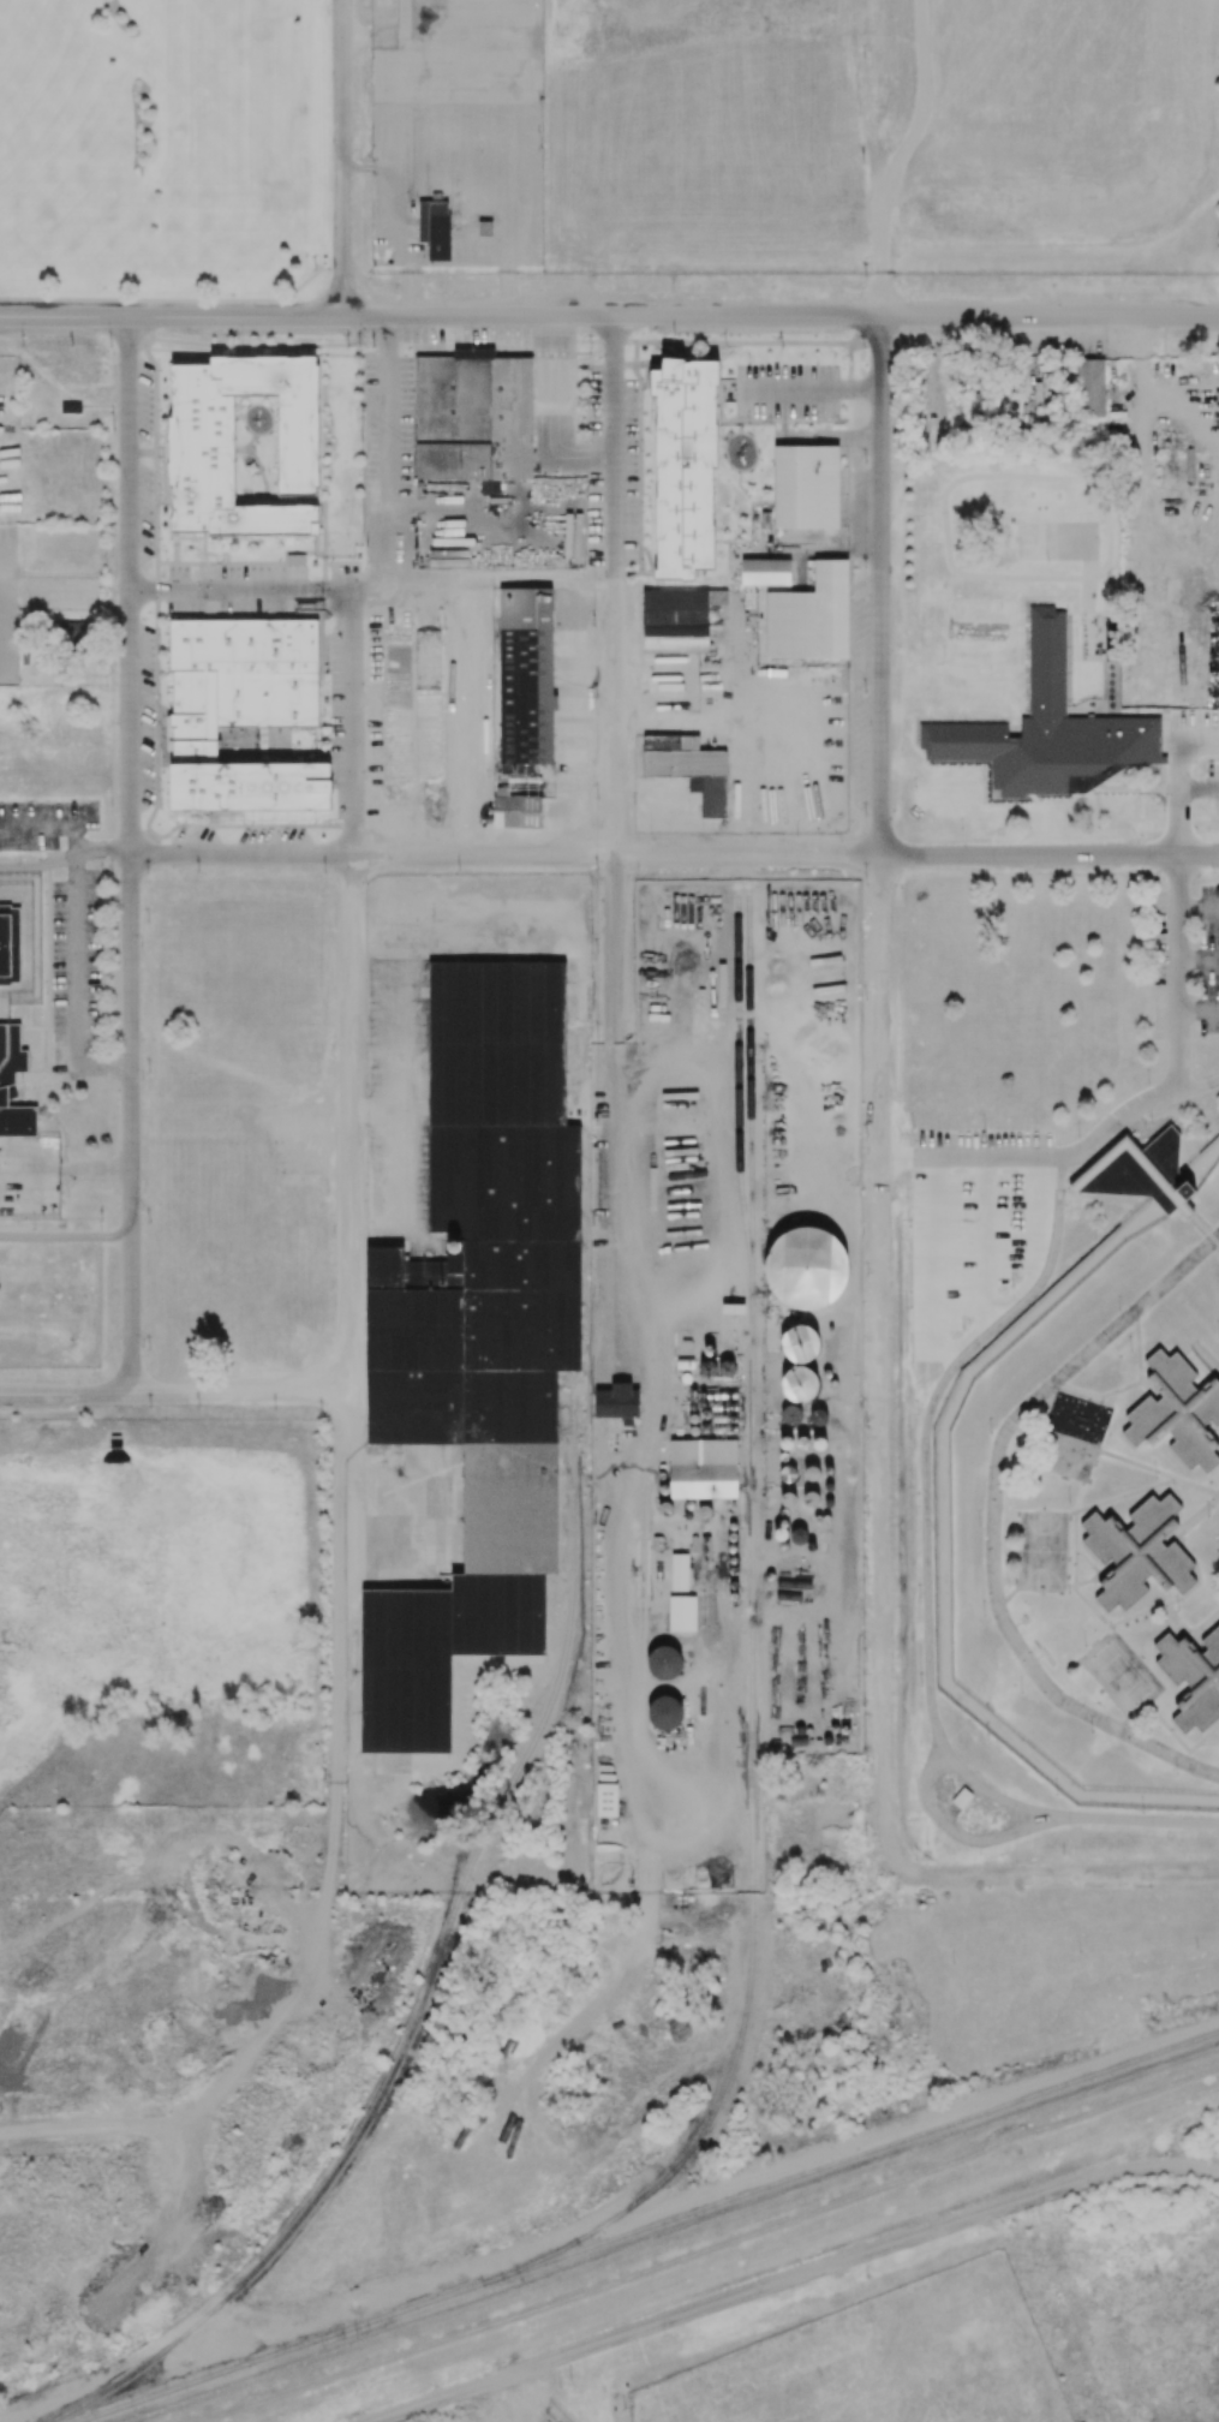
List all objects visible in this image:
street lamp: (325, 14)
road: (369, 37)
airport: (795, 137)
street lamp: (375, 147)
street lamp: (538, 147)
park: (12, 149)
road: (879, 156)
road: (341, 157)
street lamp: (360, 159)
road: (357, 168)
building: (436, 196)
building: (423, 228)
building: (485, 228)
building: (438, 238)
road: (411, 294)
road: (506, 294)
road: (175, 300)
road: (149, 308)
road: (781, 315)
road: (64, 316)
road: (234, 316)
street lamp: (472, 345)
street lamp: (110, 346)
street lamp: (232, 346)
street lamp: (590, 346)
street lamp: (22, 347)
street lamp: (359, 347)
street lamp: (151, 371)
building: (1090, 388)
road: (807, 389)
parking lot: (787, 390)
street lamp: (153, 411)
road: (555, 417)
building: (473, 418)
building: (203, 446)
building: (685, 464)
road: (388, 471)
building: (806, 485)
building: (765, 572)
road: (240, 590)
parking lot: (8, 608)
building: (811, 616)
building: (677, 619)
building: (71, 633)
building: (526, 678)
parking lot: (860, 692)
building: (243, 711)
building: (1047, 729)
building: (688, 766)
road: (1196, 786)
parking lot: (1212, 788)
road: (1173, 791)
building: (515, 810)
parking lot: (46, 824)
road: (50, 827)
road: (614, 837)
road: (129, 854)
road: (673, 854)
road: (64, 857)
road: (1199, 905)
building: (10, 944)
road: (1199, 958)
parking lot: (1185, 962)
road: (48, 972)
parking lot: (76, 972)
road: (1178, 973)
road: (76, 985)
road: (349, 994)
road: (1199, 1012)
railway: (740, 1076)
building: (7, 1078)
road: (37, 1084)
road: (975, 1158)
road: (70, 1173)
building: (1141, 1173)
road: (1203, 1229)
road: (65, 1237)
road: (882, 1252)
building: (806, 1267)
building: (478, 1337)
building: (800, 1343)
road: (1142, 1379)
road: (1218, 1379)
road: (1130, 1384)
building: (799, 1385)
road: (166, 1394)
road: (1101, 1400)
building: (617, 1403)
building: (1177, 1410)
building: (791, 1413)
road: (1212, 1431)
building: (703, 1468)
road: (1158, 1473)
road: (926, 1493)
road: (359, 1495)
road: (1200, 1509)
road: (993, 1517)
park: (1042, 1550)
building: (1139, 1551)
road: (1105, 1568)
building: (679, 1573)
road: (1098, 1574)
road: (337, 1576)
road: (1082, 1597)
building: (682, 1613)
road: (1173, 1623)
road: (1203, 1625)
building: (664, 1663)
park: (1121, 1672)
building: (1193, 1678)
railway: (752, 1692)
building: (664, 1713)
road: (1182, 1743)
building: (605, 1800)
railway: (437, 1962)
railway: (851, 2156)
road: (791, 2279)
park: (966, 2296)
railway: (281, 2351)
road: (548, 2397)
parking lot: (497, 2411)

